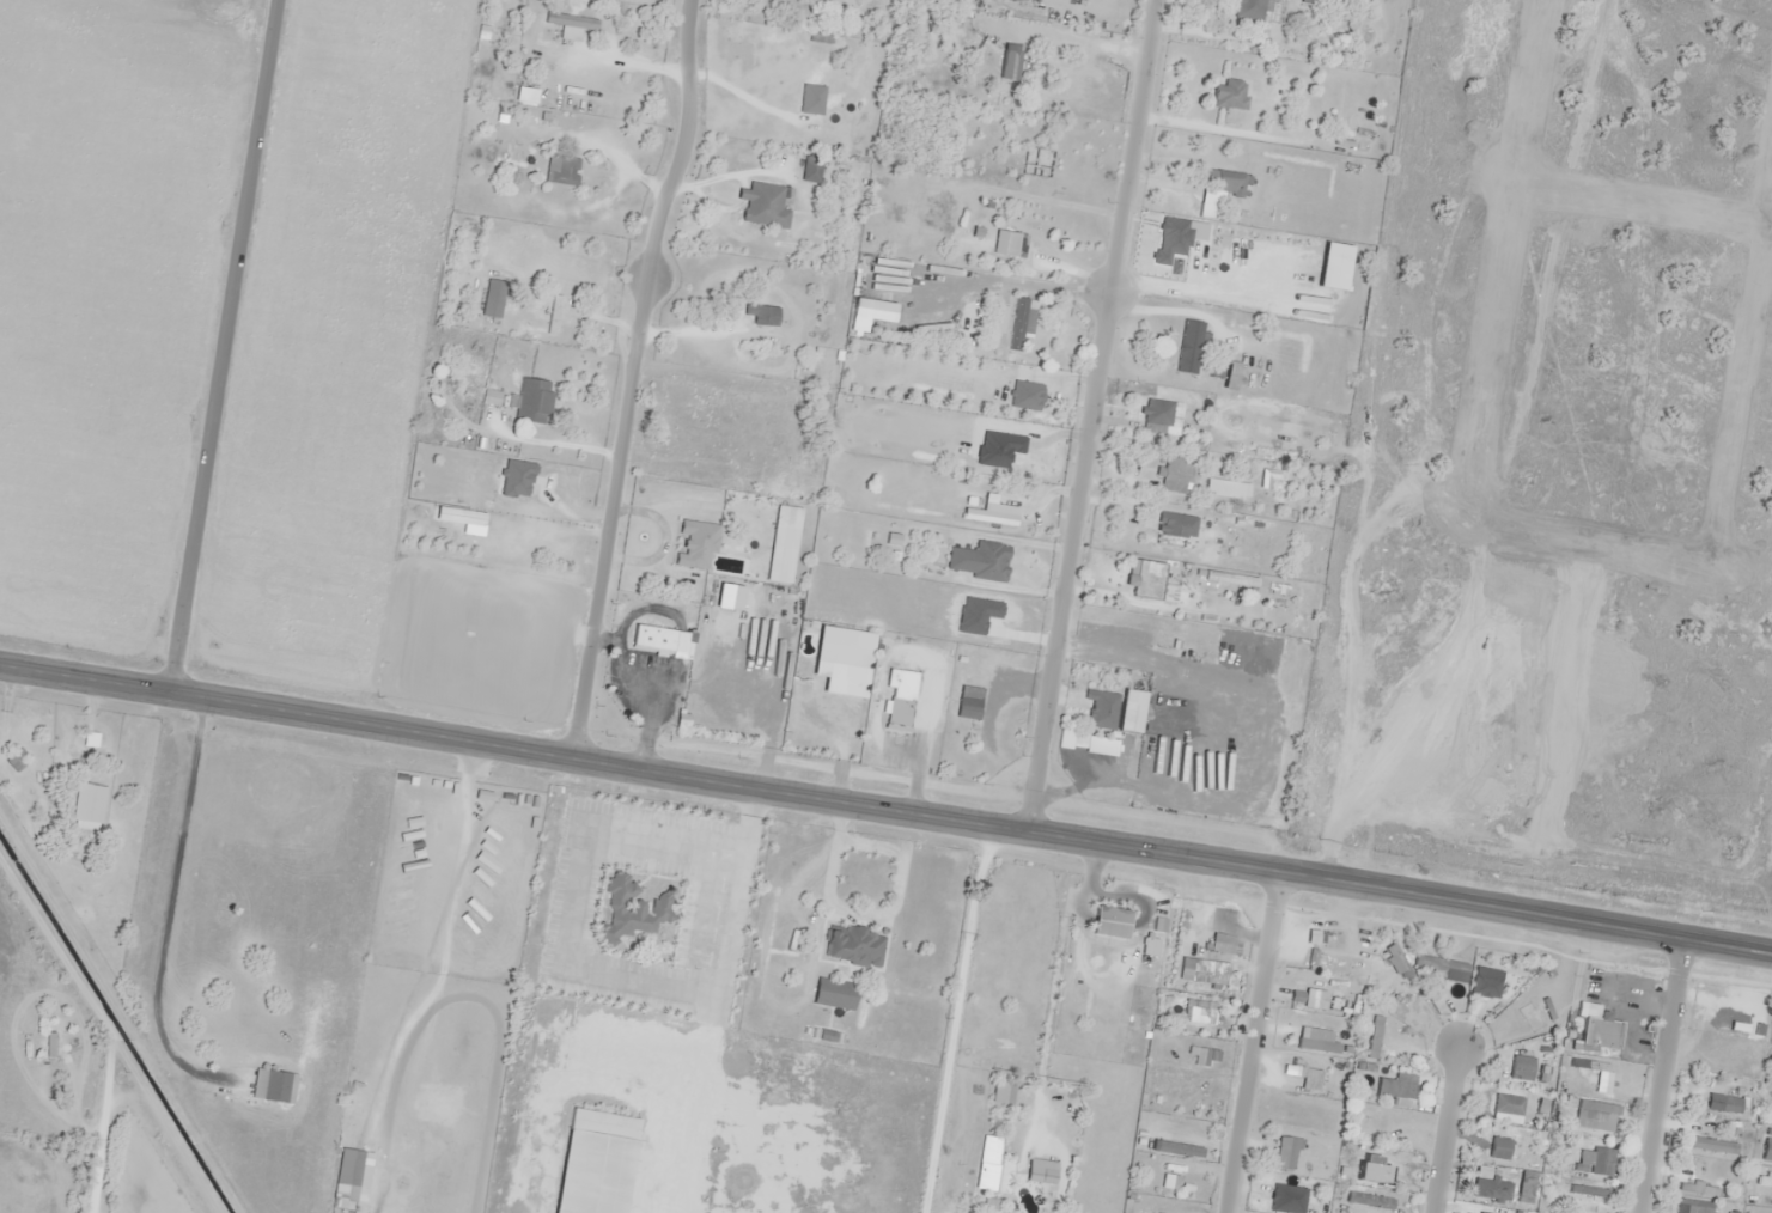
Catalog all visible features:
building: (1248, 8)
building: (571, 20)
building: (1013, 66)
building: (830, 85)
building: (1229, 93)
building: (1036, 161)
building: (811, 169)
building: (565, 170)
building: (1229, 183)
building: (762, 205)
building: (1013, 244)
building: (1200, 254)
building: (524, 256)
building: (498, 293)
building: (554, 313)
building: (763, 316)
building: (1000, 319)
building: (1022, 322)
building: (1189, 346)
road: (221, 348)
road: (629, 378)
building: (1025, 395)
building: (532, 401)
road: (1091, 416)
building: (1156, 416)
building: (1174, 474)
building: (989, 517)
building: (1176, 522)
building: (519, 524)
building: (695, 544)
building: (784, 544)
building: (1129, 544)
building: (989, 560)
building: (1143, 577)
building: (657, 639)
building: (1182, 642)
building: (842, 654)
building: (1101, 708)
building: (1129, 711)
building: (966, 712)
building: (896, 713)
building: (89, 806)
road: (885, 811)
building: (633, 908)
building: (1110, 922)
building: (1225, 944)
building: (853, 945)
building: (1150, 946)
building: (1444, 967)
building: (1216, 981)
building: (833, 993)
building: (1502, 994)
building: (1198, 1011)
building: (1597, 1030)
road: (1252, 1041)
building: (1380, 1041)
building: (1317, 1044)
building: (1521, 1067)
building: (1302, 1074)
road: (1662, 1077)
building: (1596, 1080)
building: (273, 1085)
building: (1396, 1086)
building: (1508, 1104)
building: (1730, 1104)
building: (1594, 1114)
road: (1449, 1128)
building: (1383, 1134)
building: (1710, 1145)
building: (1498, 1147)
building: (1767, 1150)
building: (348, 1152)
building: (593, 1162)
building: (994, 1164)
building: (1765, 1174)
building: (1376, 1176)
building: (1698, 1188)
building: (1490, 1190)
building: (1590, 1194)
building: (1370, 1199)
building: (1280, 1206)
building: (1692, 1207)

